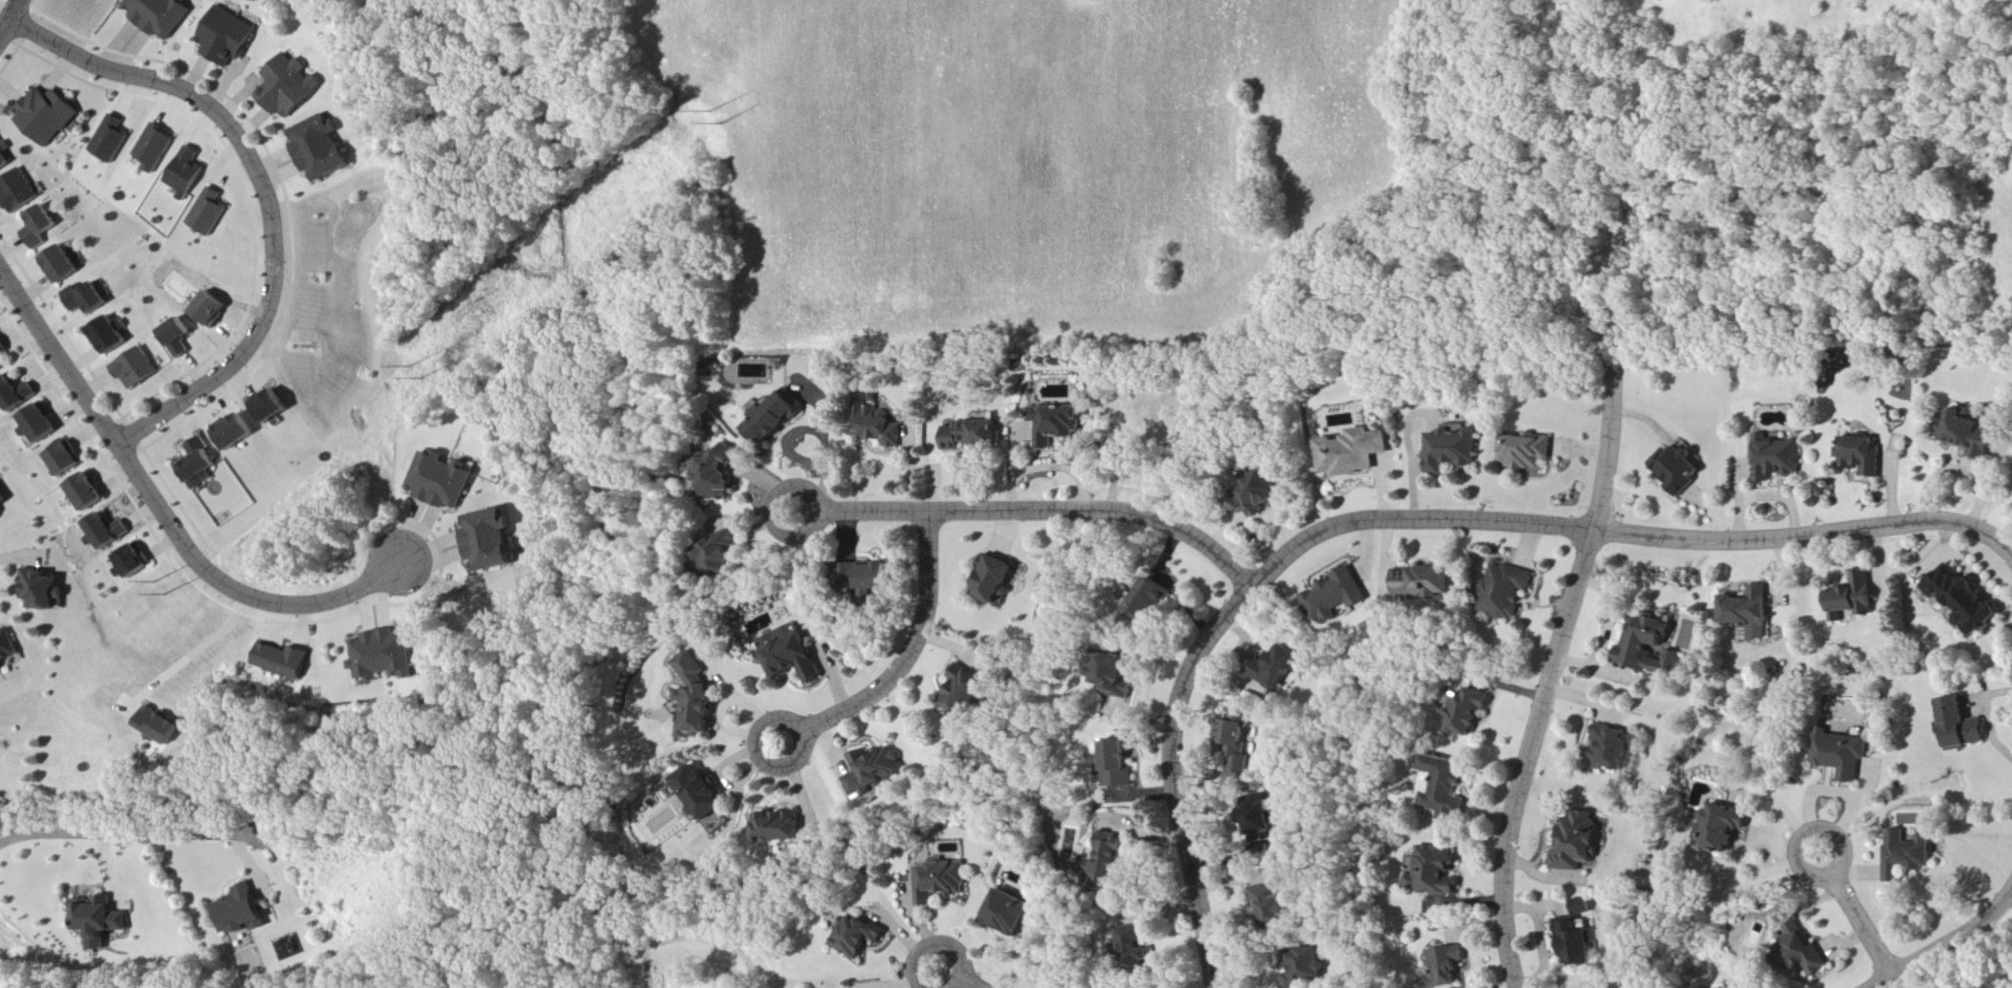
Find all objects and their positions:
building: (160, 15)
road: (11, 18)
building: (228, 36)
building: (291, 86)
power tower: (714, 111)
building: (46, 115)
power tower: (726, 124)
building: (111, 139)
building: (321, 148)
building: (153, 149)
building: (4, 156)
building: (186, 172)
building: (18, 191)
road: (267, 193)
building: (209, 212)
building: (40, 226)
building: (62, 264)
building: (89, 298)
building: (211, 308)
building: (112, 334)
building: (179, 338)
building: (3, 348)
building: (2, 366)
power tower: (412, 367)
building: (137, 368)
power tower: (427, 377)
building: (17, 392)
building: (272, 406)
building: (775, 418)
building: (1057, 423)
building: (41, 424)
building: (880, 427)
building: (236, 431)
building: (1970, 434)
building: (973, 435)
building: (1452, 448)
building: (1525, 451)
building: (1356, 452)
building: (1863, 455)
building: (1779, 458)
building: (66, 459)
building: (200, 464)
road: (1957, 466)
building: (1681, 469)
building: (443, 481)
building: (87, 492)
building: (1263, 493)
building: (3, 498)
road: (162, 510)
road: (1038, 510)
road: (1414, 518)
building: (108, 531)
building: (492, 540)
building: (721, 552)
road: (2011, 552)
road: (1931, 559)
building: (134, 562)
road: (1969, 568)
building: (878, 576)
building: (1428, 582)
power tower: (156, 583)
building: (43, 589)
building: (1506, 590)
power tower: (167, 595)
building: (1339, 596)
building: (1853, 598)
building: (1965, 599)
building: (1153, 603)
building: (1750, 612)
building: (8, 646)
building: (1648, 647)
building: (794, 654)
road: (194, 656)
building: (388, 656)
road: (908, 658)
building: (286, 661)
building: (1281, 668)
road: (1552, 671)
building: (1118, 674)
road: (1985, 689)
building: (970, 690)
road: (1977, 697)
building: (698, 699)
building: (1470, 711)
road: (1990, 716)
building: (1963, 725)
building: (161, 726)
building: (1235, 736)
building: (1612, 747)
building: (1844, 755)
building: (1119, 764)
building: (878, 772)
building: (1447, 791)
building: (708, 797)
building: (1259, 818)
building: (1726, 826)
building: (782, 828)
road: (129, 834)
building: (1577, 843)
building: (1907, 855)
building: (1112, 862)
building: (1434, 872)
building: (943, 880)
building: (1275, 904)
building: (1583, 906)
building: (241, 911)
building: (1013, 913)
road: (1857, 914)
building: (100, 918)
building: (862, 936)
building: (1577, 944)
road: (1946, 944)
building: (1142, 948)
building: (1803, 949)
building: (1445, 966)
building: (1309, 968)
road: (961, 978)

